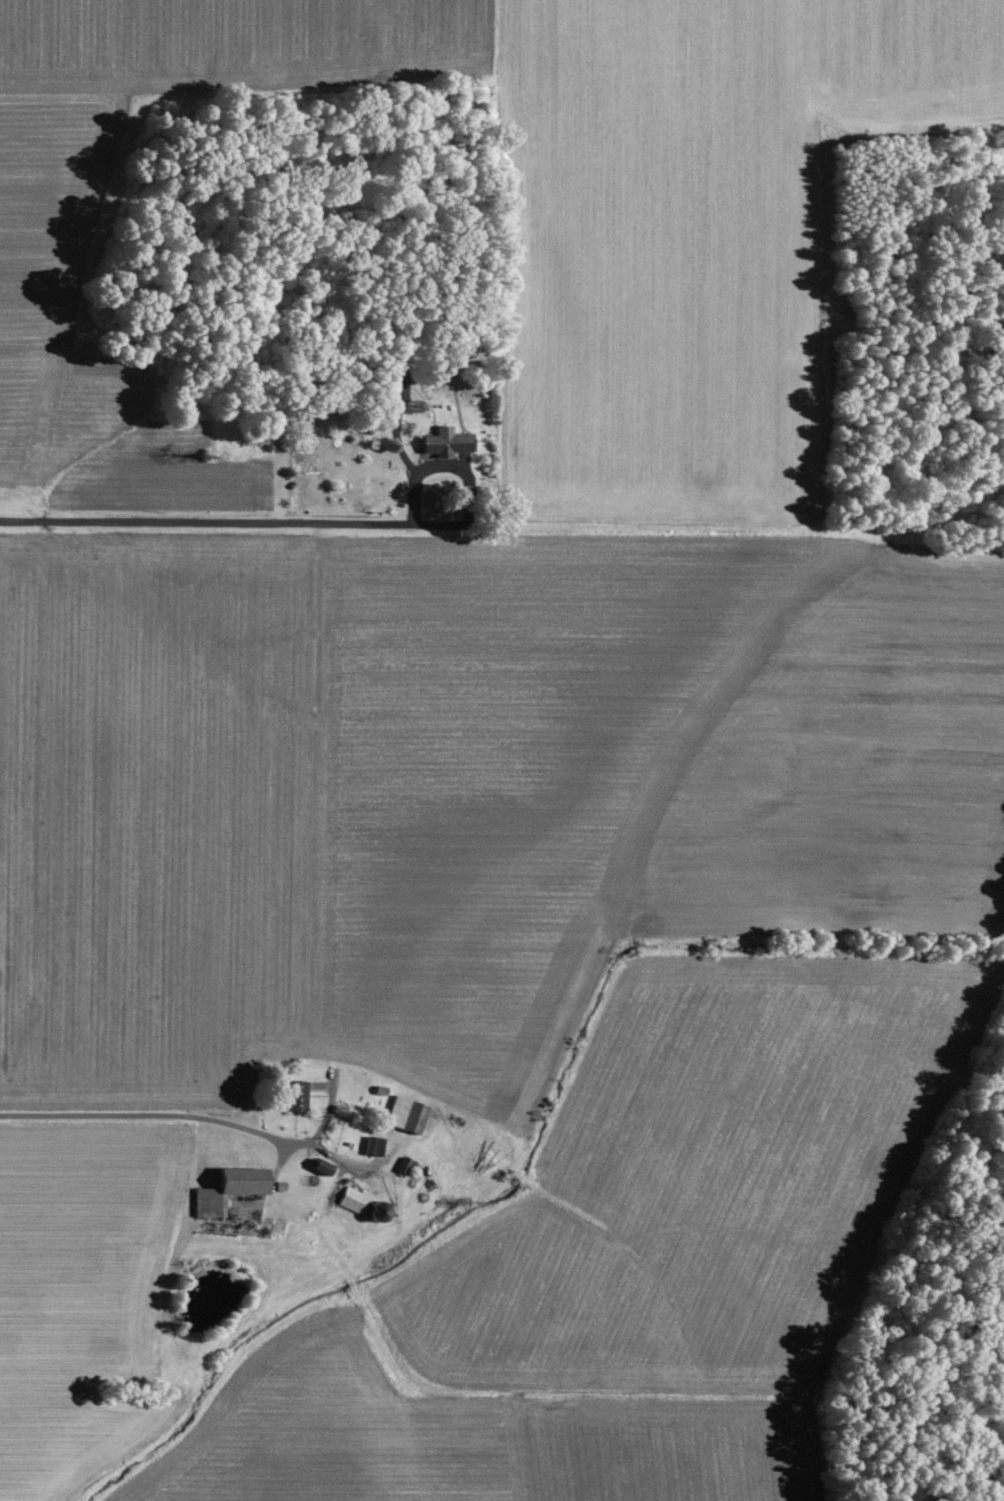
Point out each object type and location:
building: (449, 359)
building: (399, 387)
building: (449, 440)
road: (222, 521)
building: (296, 1095)
building: (407, 1114)
road: (188, 1115)
building: (374, 1145)
building: (321, 1166)
building: (228, 1190)
building: (354, 1200)

